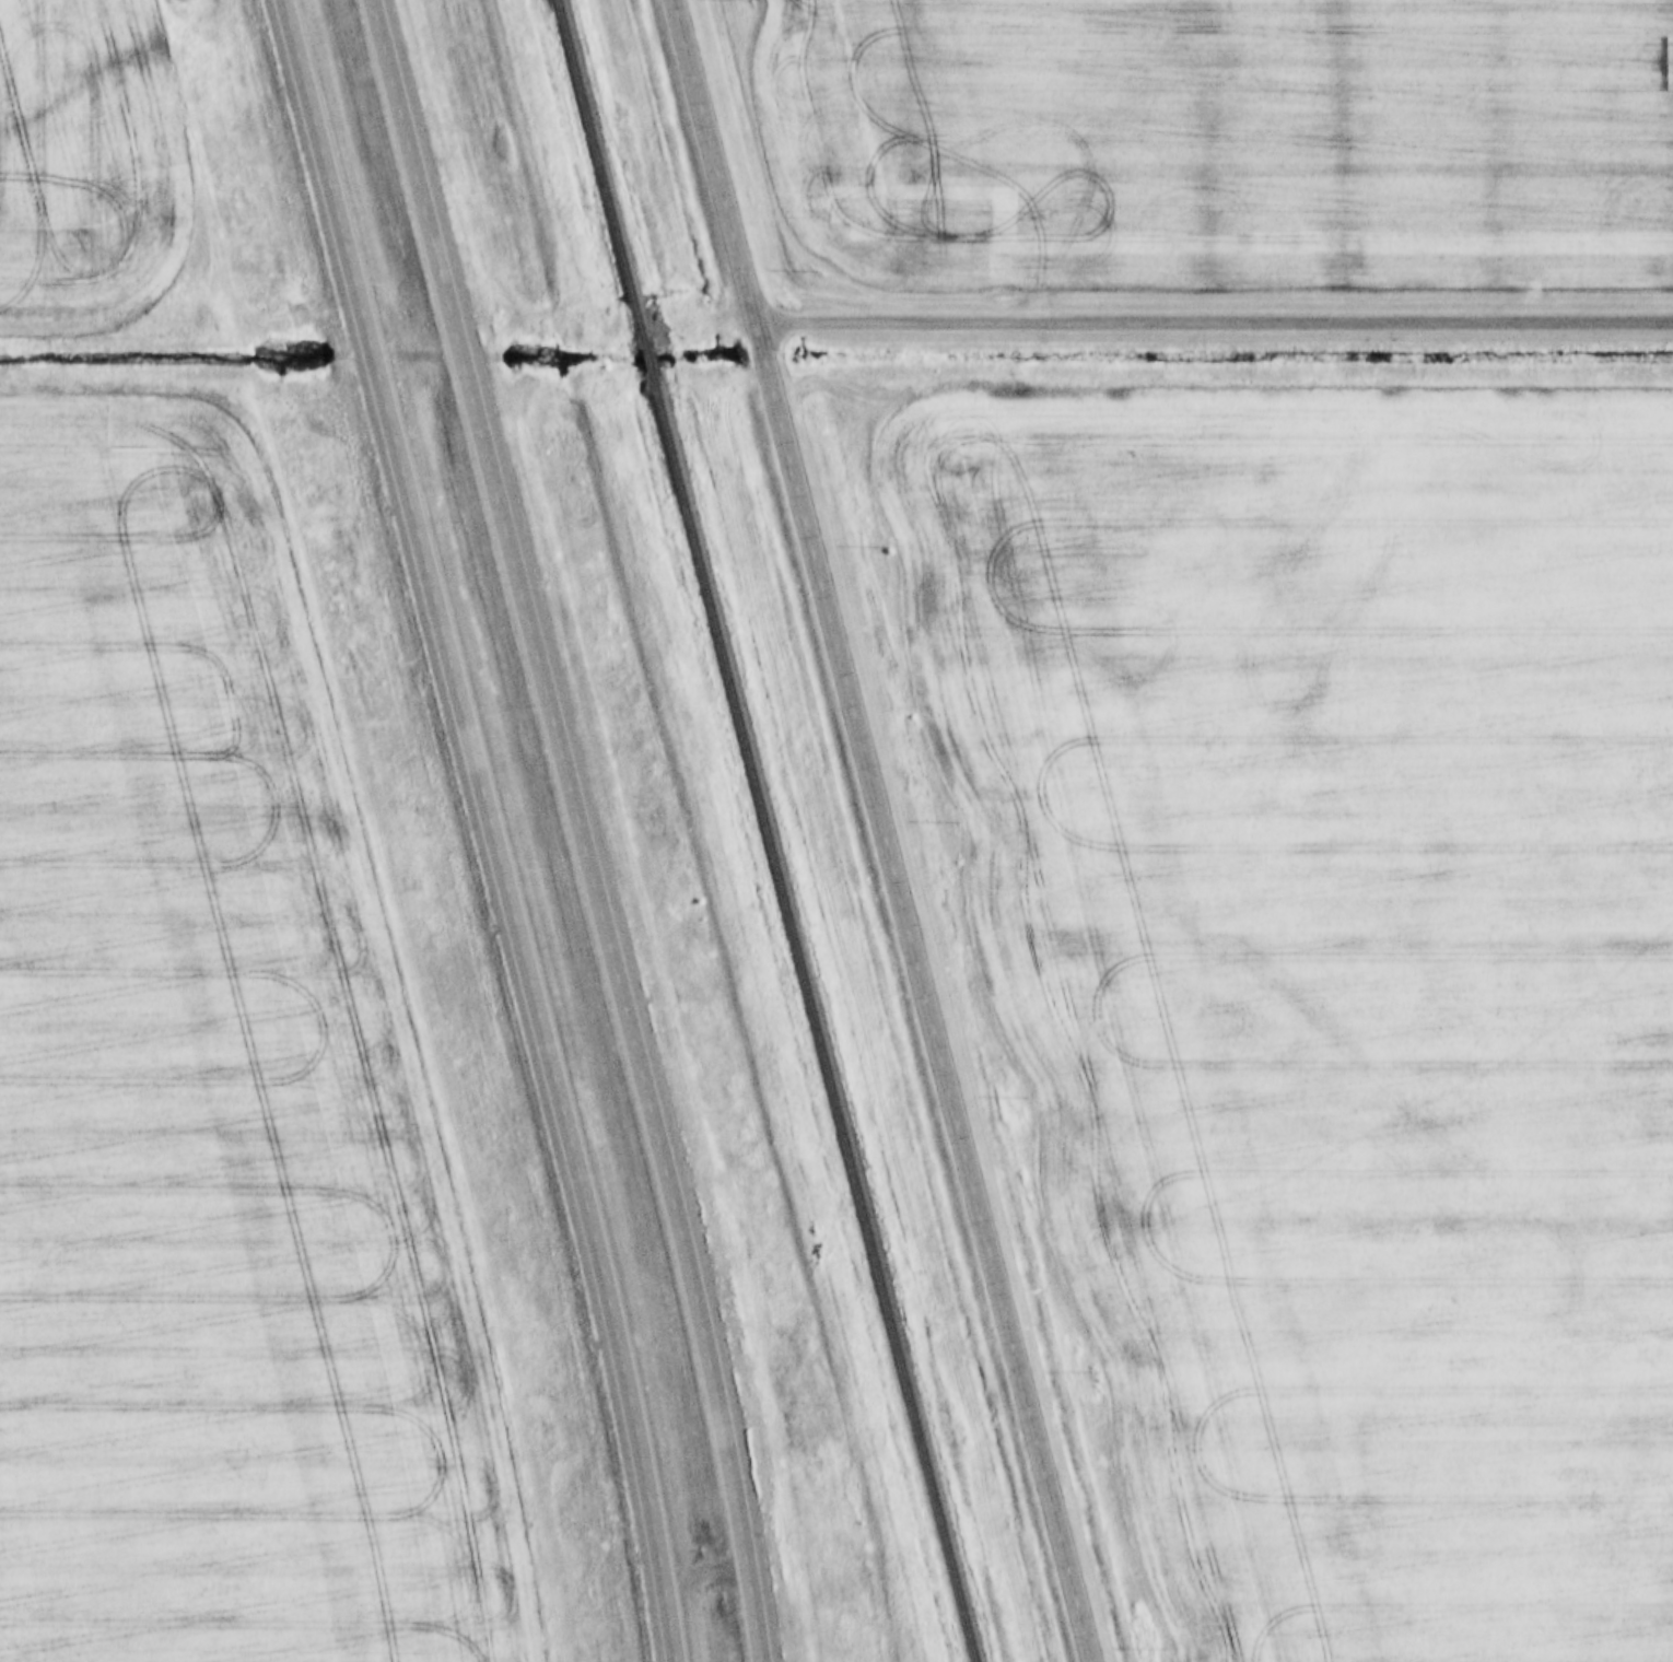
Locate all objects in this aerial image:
crop: (1227, 143)
crop: (93, 155)
railway: (598, 171)
road: (1213, 319)
railway: (646, 358)
road: (494, 828)
road: (580, 828)
road: (882, 830)
crop: (1332, 985)
railway: (814, 1018)
crop: (217, 1100)

